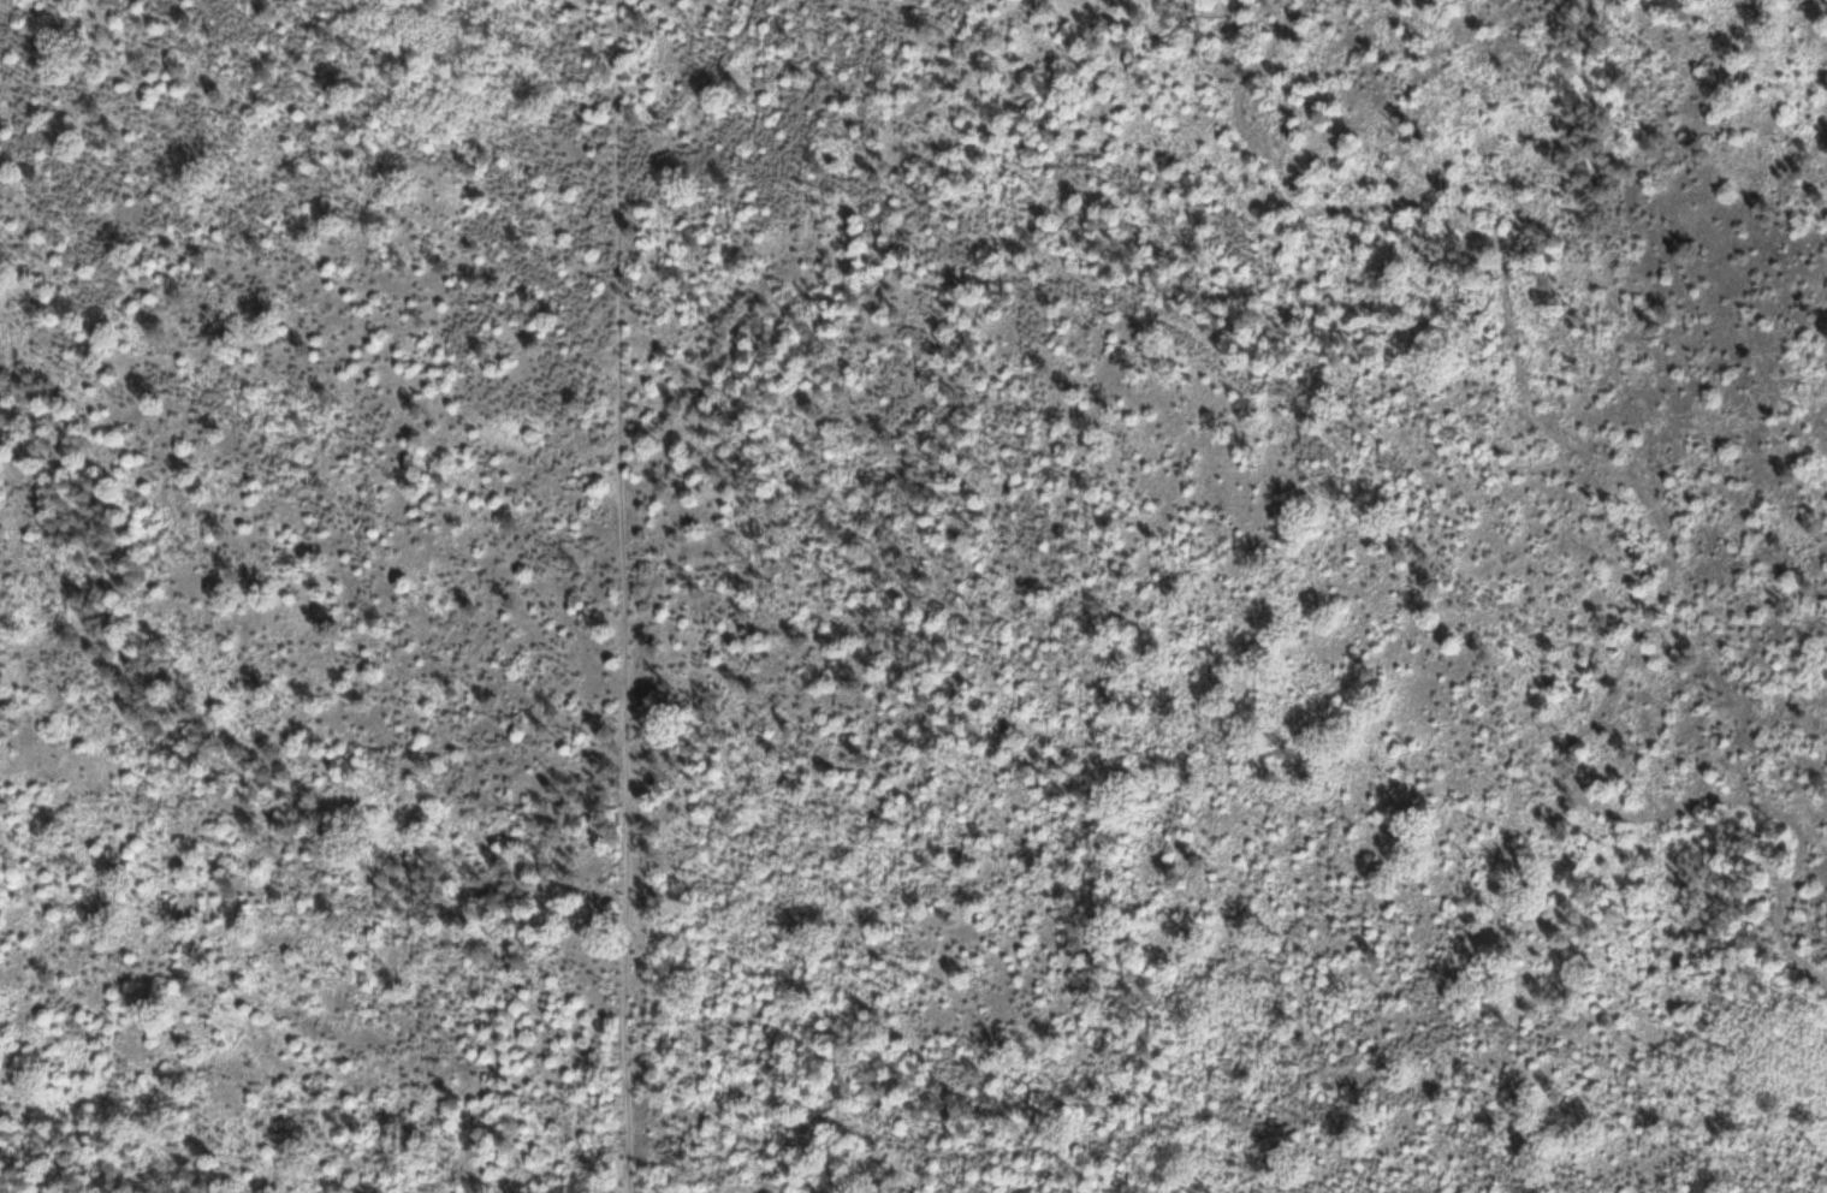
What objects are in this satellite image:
road: (947, 434)
road: (1641, 488)
road: (625, 595)
road: (820, 599)
road: (682, 744)
road: (821, 1109)
road: (71, 1173)

